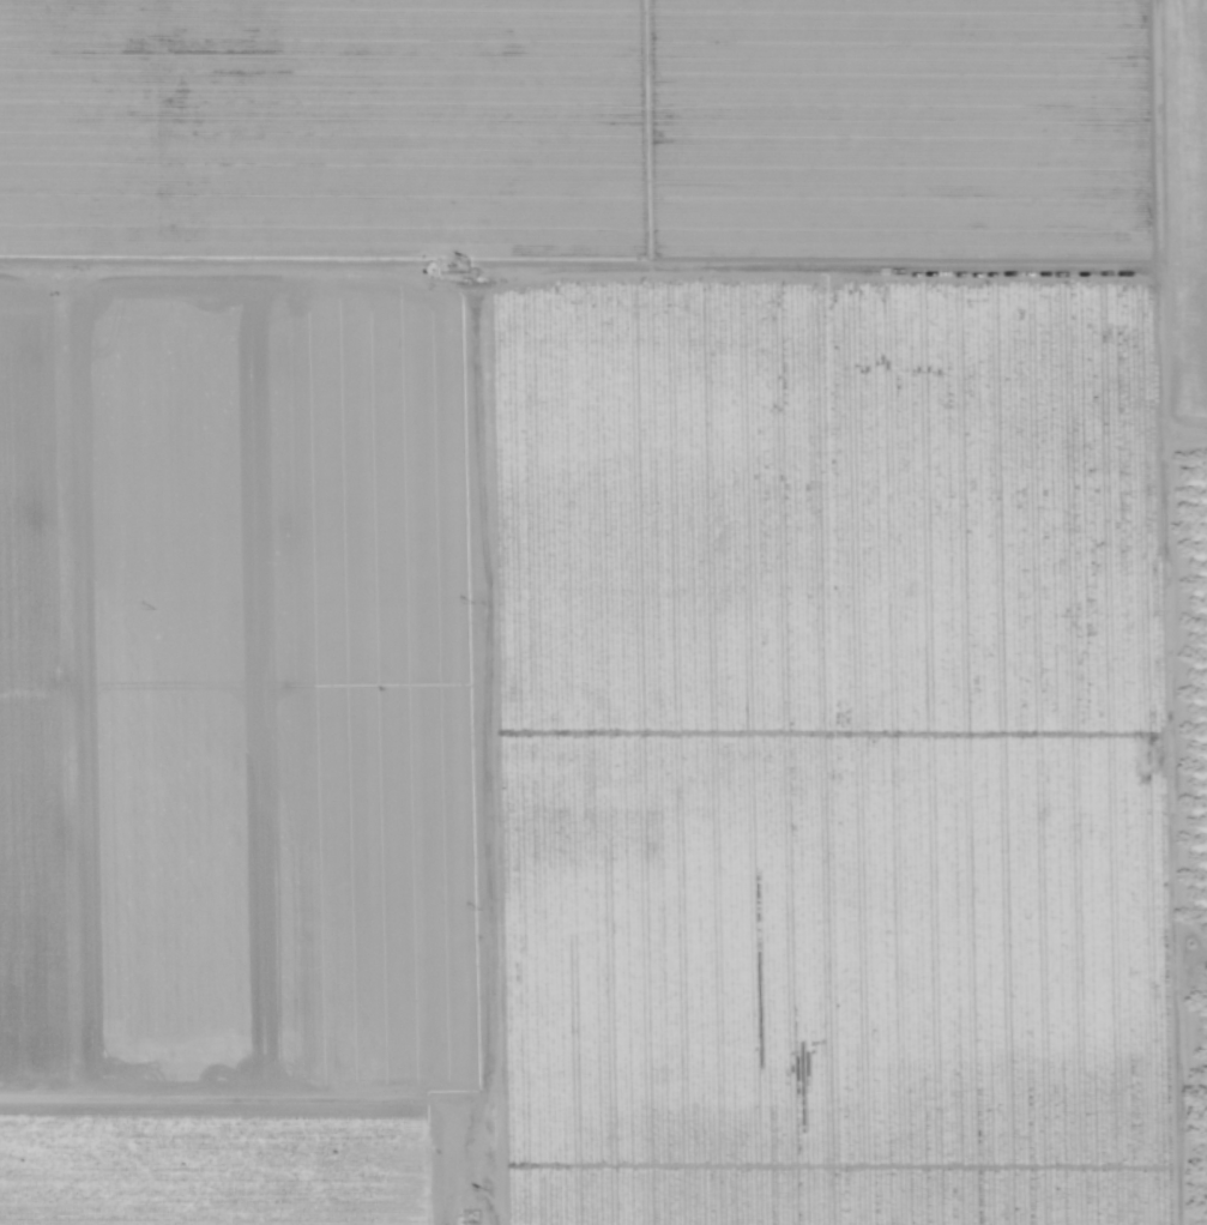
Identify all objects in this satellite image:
road: (1117, 1061)

